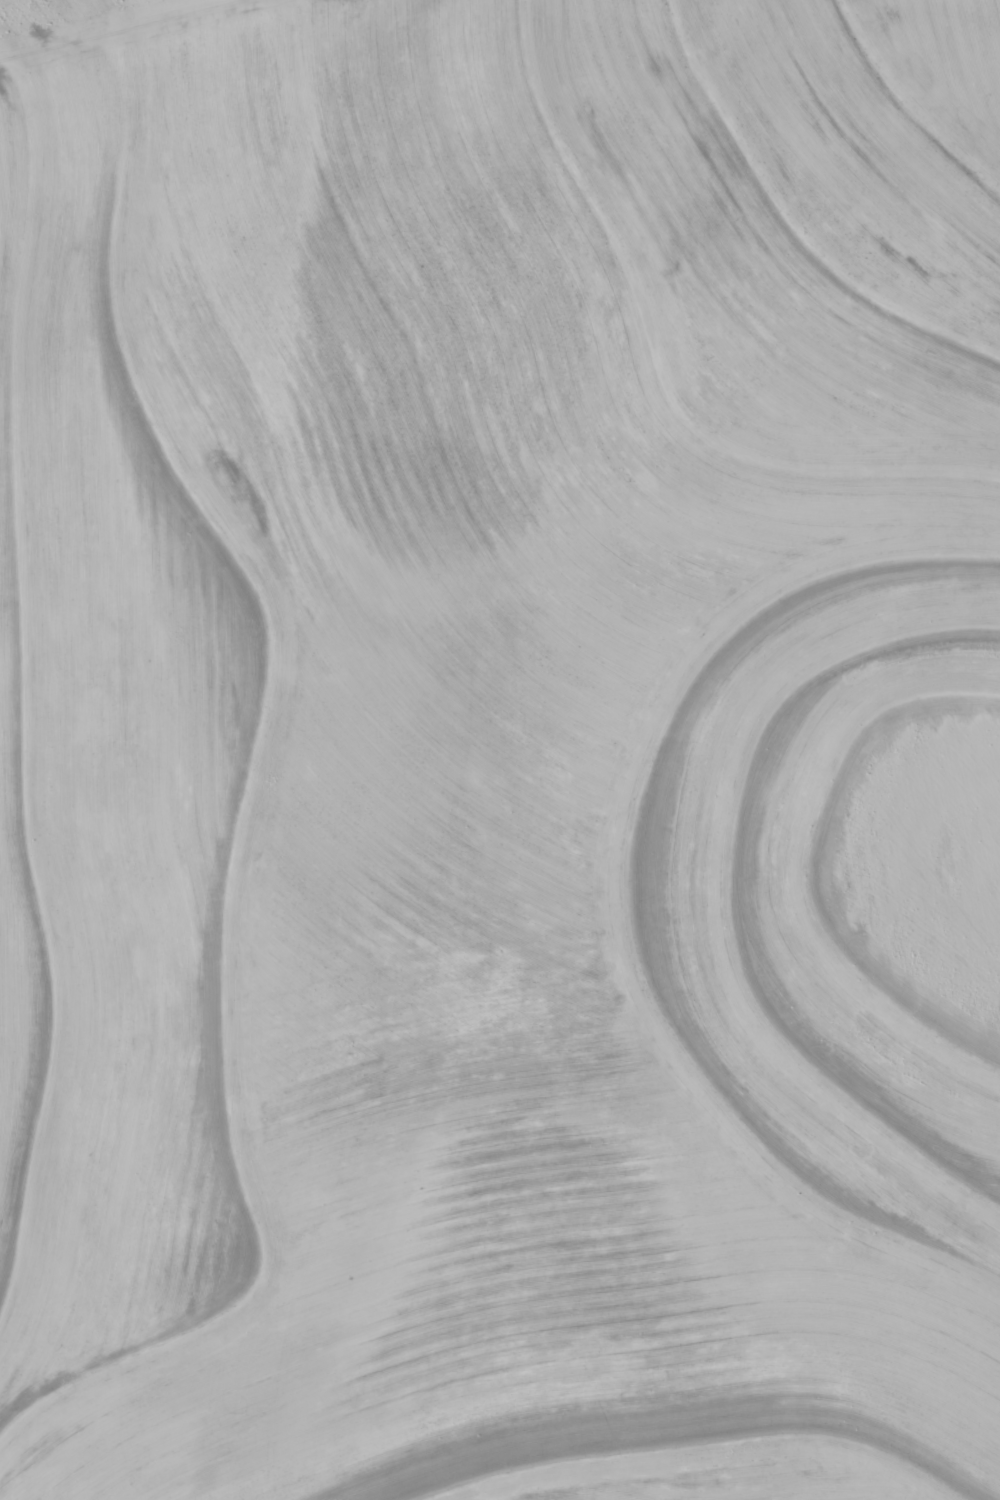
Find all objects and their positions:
road: (147, 38)

